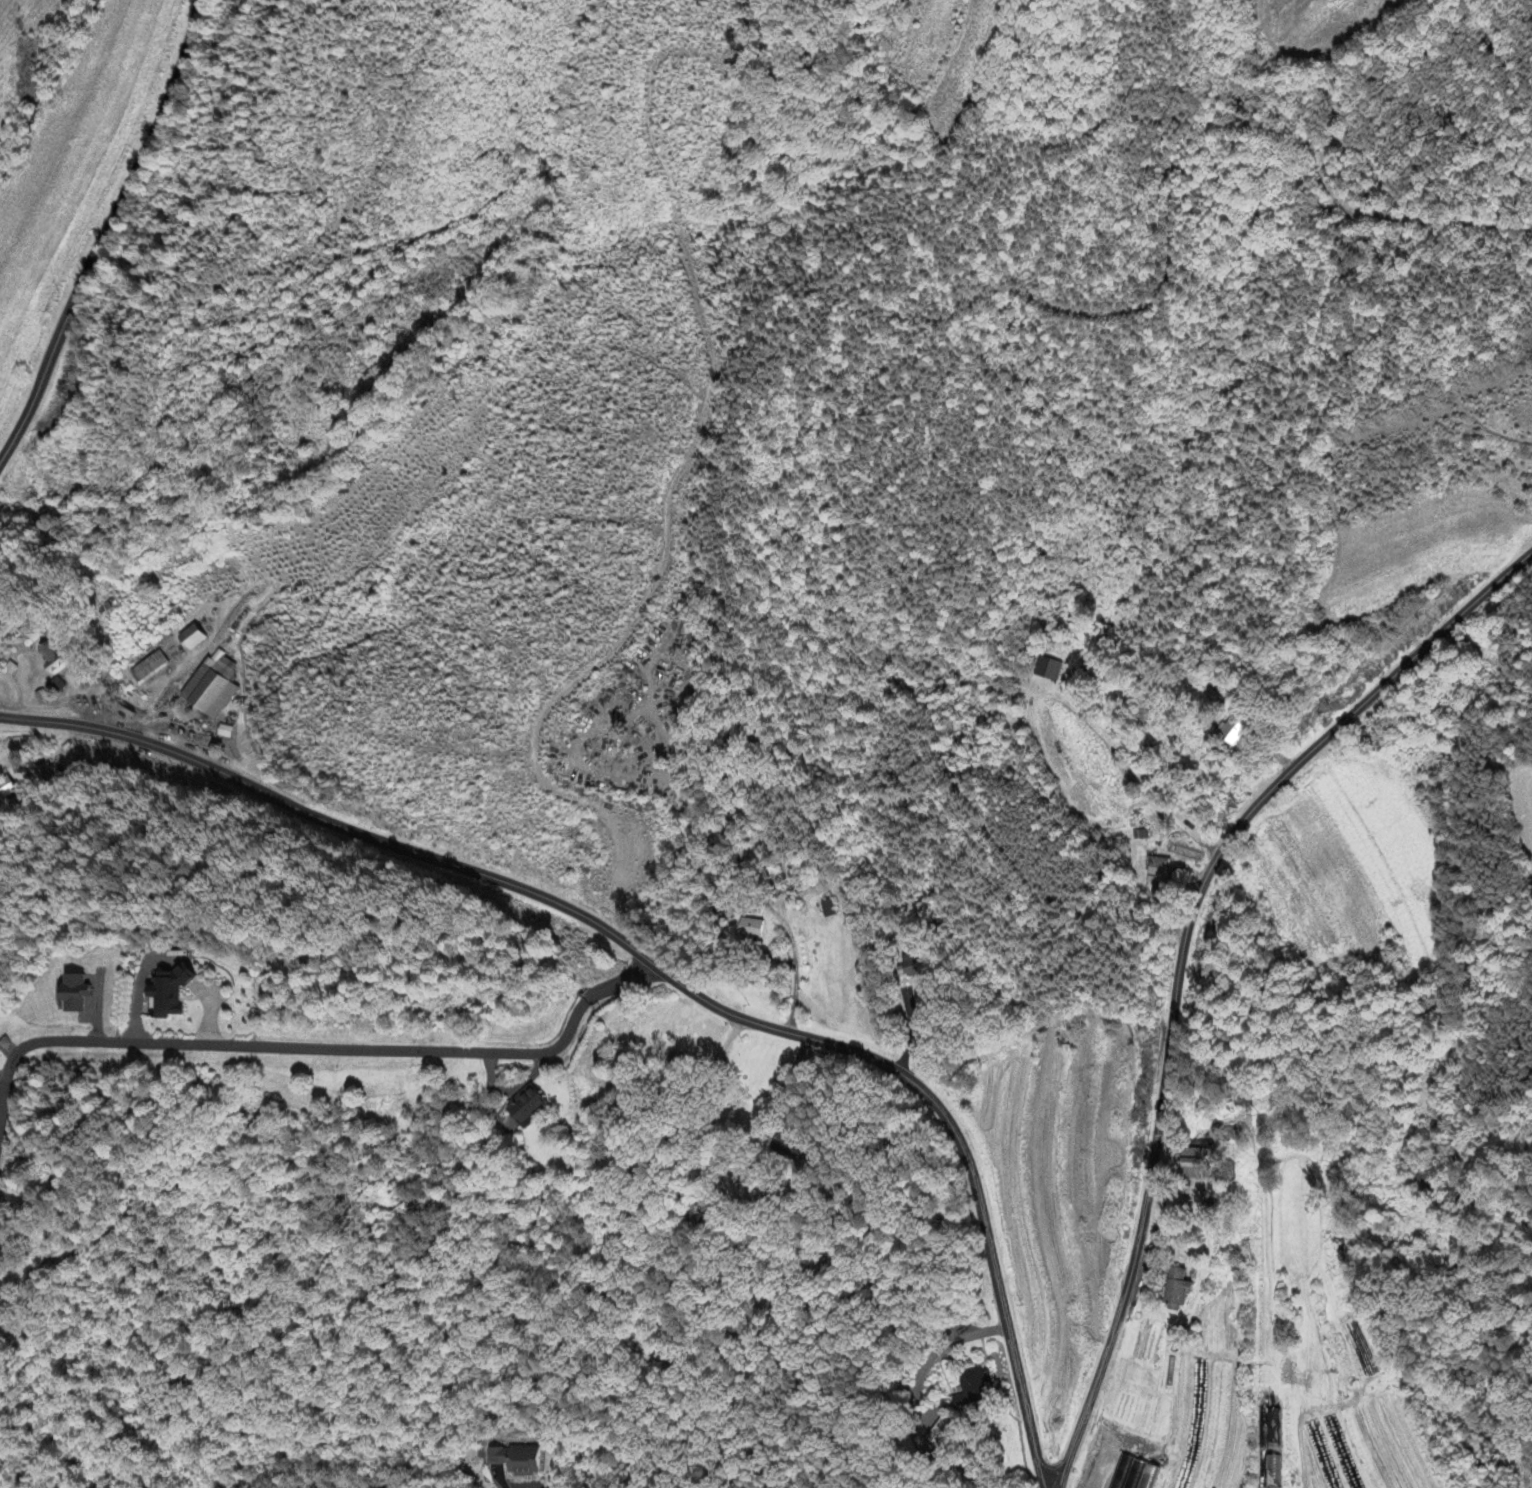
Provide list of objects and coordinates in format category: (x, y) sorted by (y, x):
road: (99, 228)
building: (193, 638)
building: (55, 659)
building: (148, 669)
building: (1048, 670)
building: (212, 687)
road: (152, 717)
building: (6, 789)
building: (1157, 873)
road: (1434, 875)
building: (828, 910)
building: (754, 930)
road: (1177, 956)
building: (911, 966)
road: (661, 971)
building: (175, 993)
building: (78, 994)
road: (323, 1047)
building: (621, 1070)
road: (785, 1081)
building: (530, 1106)
building: (792, 1149)
building: (1202, 1173)
building: (1179, 1291)
building: (974, 1390)
building: (1275, 1430)
building: (942, 1433)
building: (518, 1461)
road: (1291, 1469)
building: (1272, 1472)
building: (1137, 1475)

